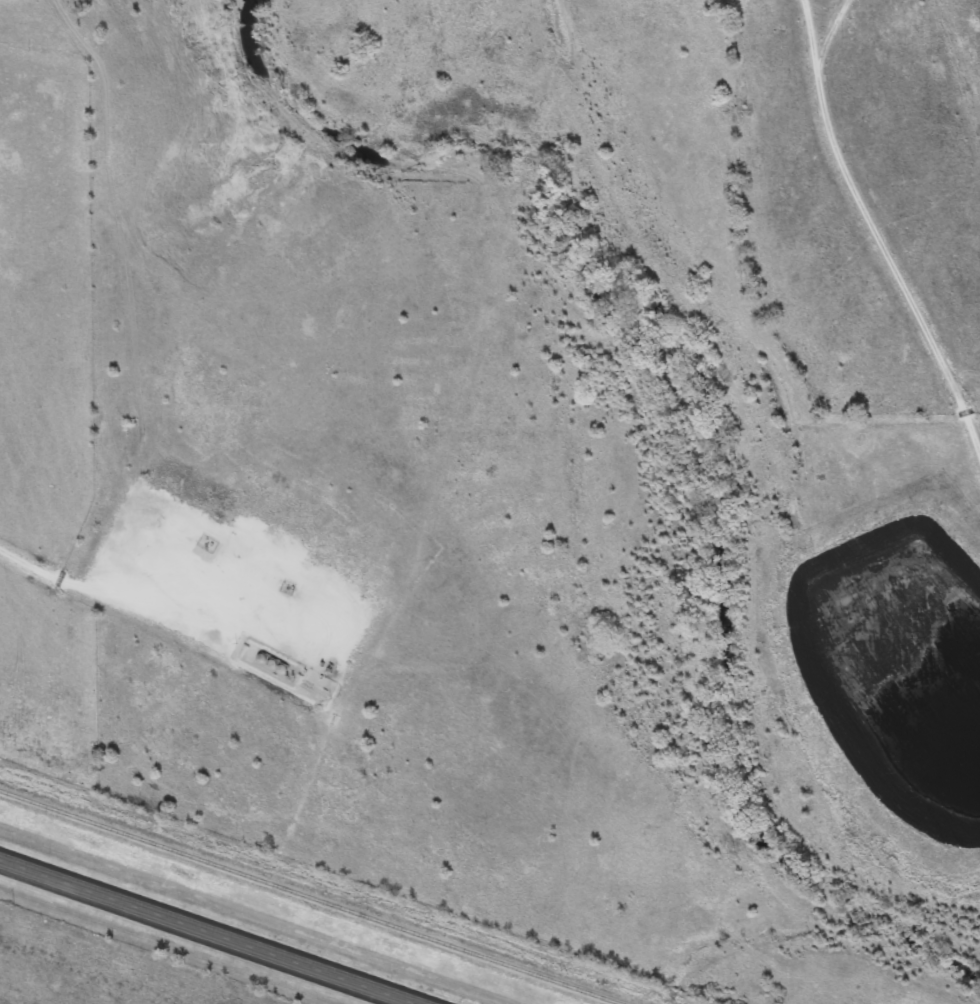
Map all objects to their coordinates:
road: (87, 585)
railway: (310, 898)
road: (208, 932)

